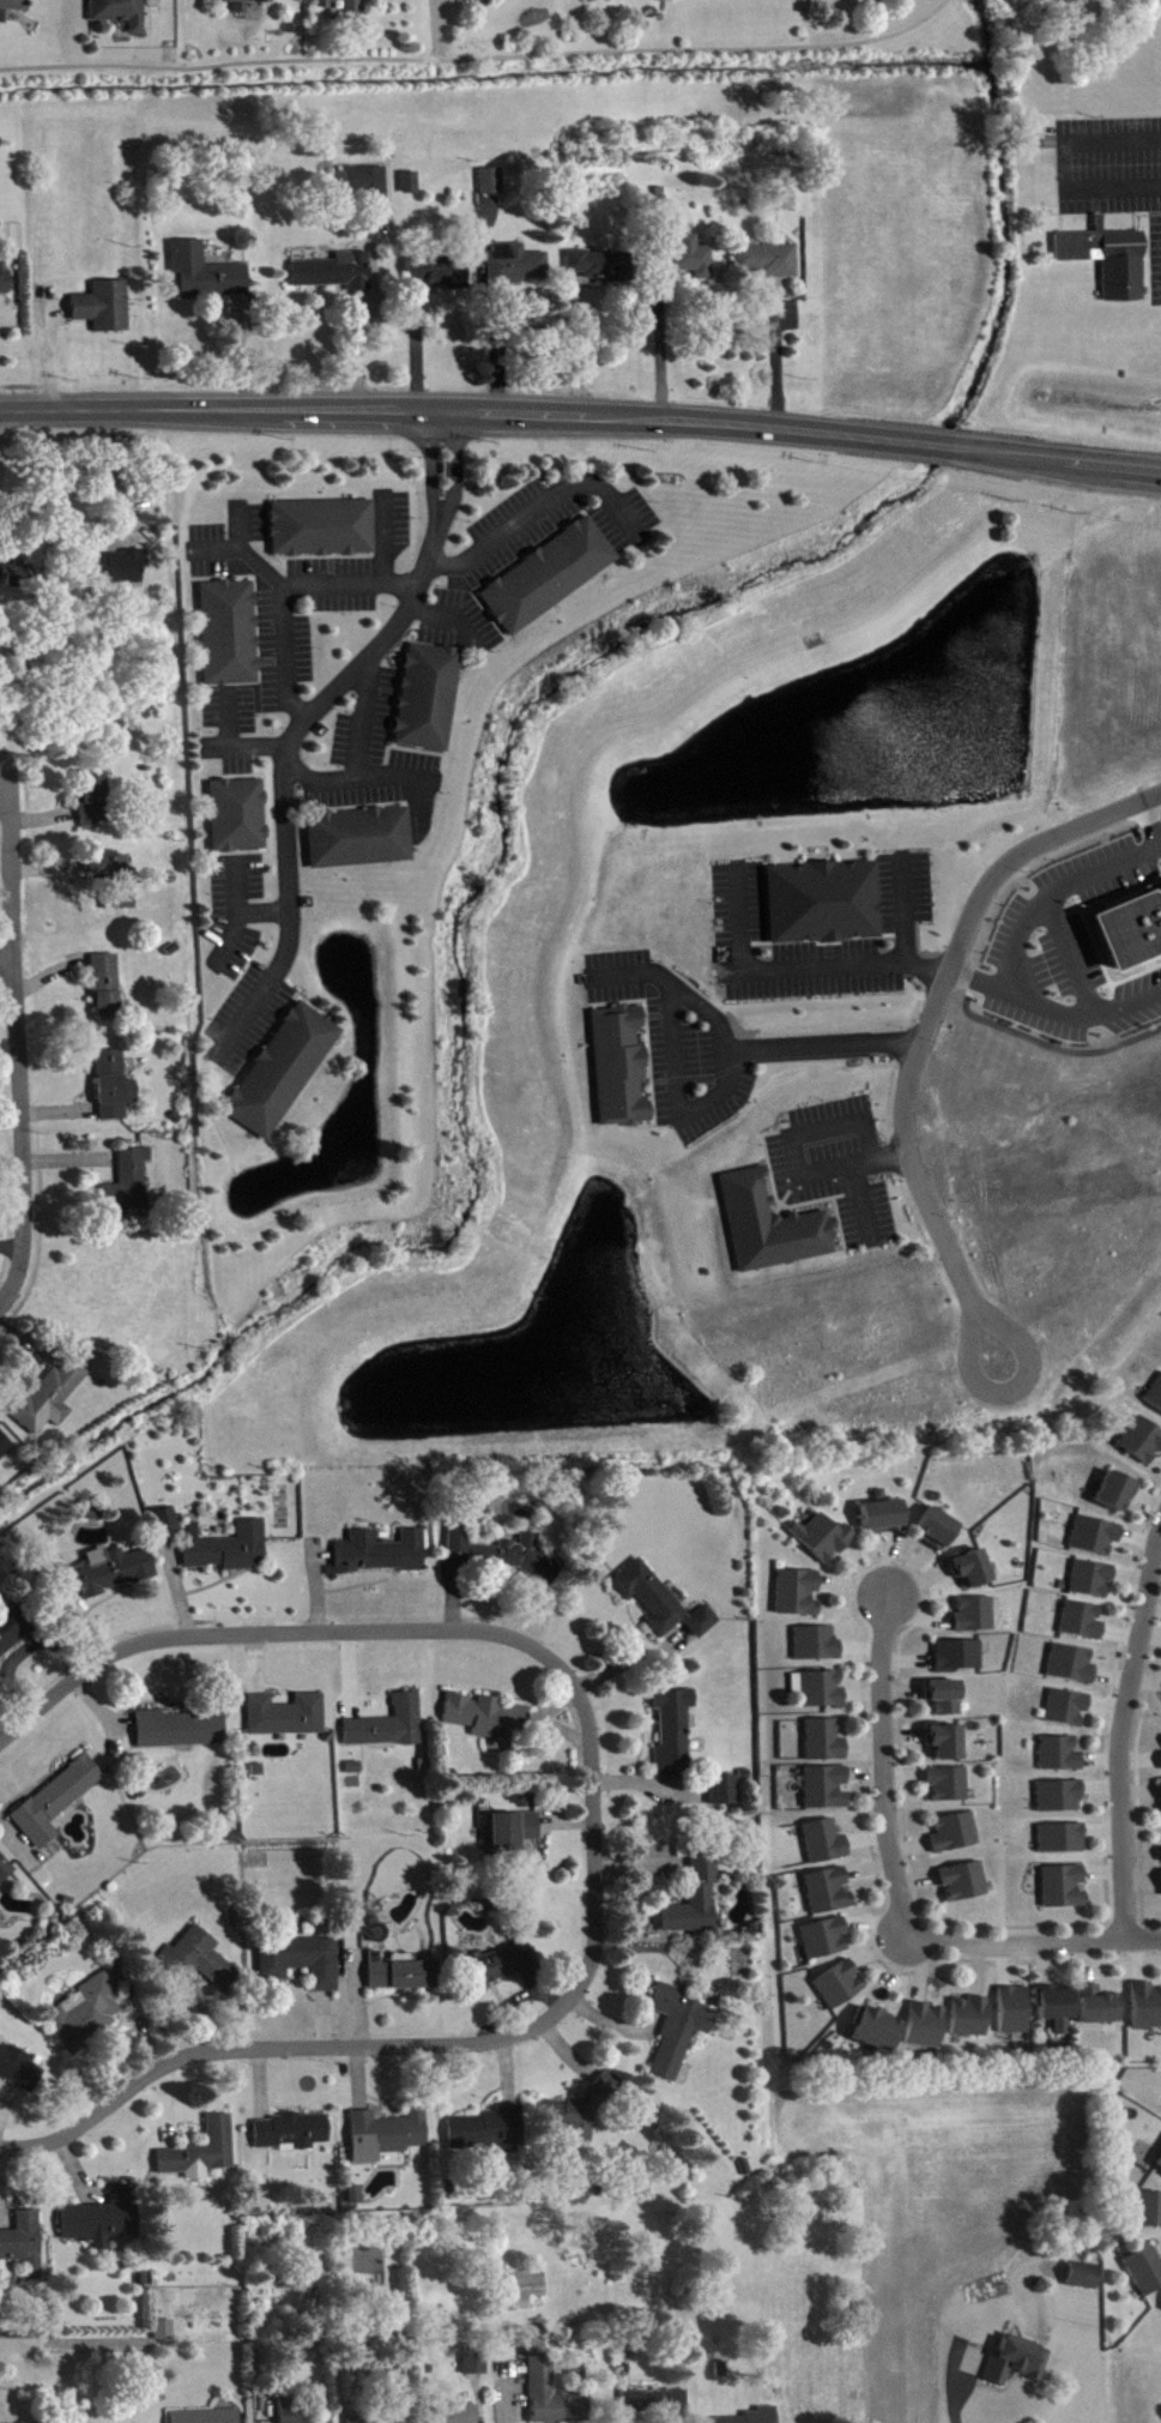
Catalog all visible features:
building: (483, 1)
building: (243, 5)
building: (353, 8)
building: (12, 10)
building: (120, 14)
road: (482, 60)
road: (1059, 164)
building: (492, 185)
building: (367, 187)
building: (411, 187)
building: (787, 205)
building: (690, 263)
building: (767, 263)
building: (1109, 263)
building: (516, 269)
building: (600, 270)
building: (335, 276)
building: (440, 276)
building: (206, 277)
building: (4, 282)
building: (104, 311)
road: (574, 345)
road: (657, 346)
road: (773, 356)
road: (581, 412)
road: (113, 471)
road: (537, 519)
building: (323, 532)
building: (16, 578)
building: (549, 580)
road: (279, 591)
road: (437, 620)
building: (230, 638)
building: (428, 701)
road: (306, 718)
road: (356, 747)
building: (93, 804)
building: (238, 820)
road: (1145, 822)
building: (359, 842)
road: (1160, 846)
building: (108, 867)
road: (1050, 891)
building: (120, 903)
building: (823, 906)
building: (1126, 924)
road: (6, 964)
road: (920, 966)
road: (821, 968)
building: (107, 991)
road: (933, 997)
road: (1018, 999)
road: (1127, 1002)
road: (700, 1012)
road: (17, 1060)
building: (619, 1071)
building: (283, 1074)
building: (115, 1090)
building: (128, 1187)
building: (772, 1230)
road: (1009, 1388)
building: (1155, 1399)
building: (50, 1402)
building: (1143, 1445)
building: (5, 1449)
building: (1118, 1496)
building: (883, 1521)
building: (167, 1527)
building: (937, 1533)
building: (1095, 1539)
building: (823, 1542)
building: (228, 1551)
building: (380, 1557)
building: (508, 1559)
building: (973, 1573)
building: (115, 1575)
building: (1092, 1584)
building: (798, 1597)
building: (661, 1607)
building: (975, 1619)
building: (1082, 1625)
road: (253, 1632)
building: (13, 1633)
building: (817, 1649)
building: (960, 1660)
building: (1072, 1669)
building: (820, 1694)
building: (945, 1701)
building: (1068, 1712)
building: (288, 1719)
building: (489, 1720)
road: (1120, 1724)
building: (389, 1729)
building: (675, 1732)
building: (180, 1734)
building: (826, 1744)
building: (947, 1747)
building: (1060, 1759)
road: (896, 1770)
building: (949, 1788)
building: (827, 1792)
building: (724, 1795)
building: (1060, 1801)
building: (58, 1806)
road: (589, 1822)
building: (513, 1836)
building: (956, 1837)
building: (1062, 1843)
building: (826, 1846)
building: (5, 1873)
building: (965, 1886)
building: (1064, 1892)
building: (829, 1895)
building: (0, 1898)
building: (695, 1901)
road: (1030, 1936)
building: (824, 1942)
building: (205, 1963)
building: (301, 1966)
building: (498, 1971)
building: (400, 1978)
building: (839, 1989)
building: (1099, 2011)
building: (1147, 2011)
building: (1057, 2012)
building: (1014, 2014)
building: (87, 2018)
building: (970, 2021)
building: (925, 2030)
building: (678, 2033)
building: (876, 2035)
road: (286, 2045)
building: (20, 2073)
building: (581, 2115)
building: (291, 2136)
building: (489, 2138)
building: (386, 2139)
road: (16, 2147)
building: (202, 2156)
building: (1159, 2168)
building: (355, 2198)
building: (1149, 2214)
building: (103, 2223)
building: (24, 2247)
building: (1145, 2274)
building: (1083, 2280)
building: (165, 2334)
building: (1016, 2365)
building: (476, 2369)
building: (554, 2398)
road: (954, 2399)
building: (654, 2407)
building: (290, 2413)
building: (455, 2417)
building: (206, 2418)
building: (761, 2418)
building: (379, 2422)

